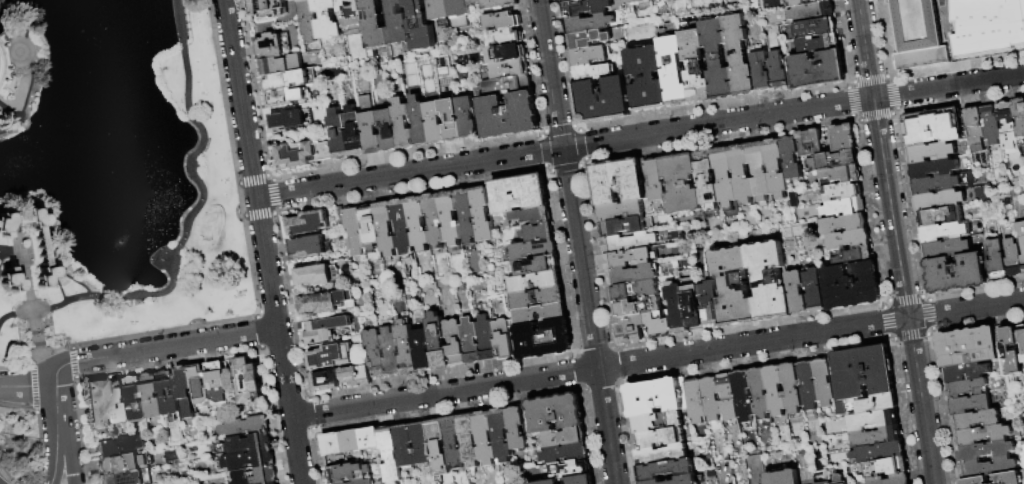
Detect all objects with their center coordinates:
building: (568, 1)
building: (637, 1)
building: (819, 1)
building: (473, 2)
building: (797, 2)
building: (500, 3)
building: (584, 7)
building: (268, 8)
building: (439, 11)
building: (811, 12)
building: (351, 13)
building: (458, 13)
building: (0, 19)
building: (328, 19)
building: (308, 20)
building: (500, 21)
building: (398, 23)
building: (588, 24)
building: (375, 25)
building: (420, 27)
building: (815, 27)
building: (2, 31)
building: (919, 33)
building: (504, 37)
building: (1011, 38)
building: (588, 40)
building: (817, 43)
building: (0, 46)
building: (274, 46)
road: (865, 49)
road: (17, 52)
building: (505, 53)
building: (588, 56)
building: (739, 56)
building: (716, 59)
building: (283, 64)
building: (695, 66)
building: (817, 68)
road: (33, 69)
building: (505, 70)
building: (672, 71)
building: (776, 71)
building: (760, 72)
building: (591, 73)
building: (646, 79)
building: (5, 80)
building: (290, 80)
building: (507, 85)
building: (285, 97)
building: (9, 99)
building: (602, 101)
road: (9, 111)
building: (509, 115)
building: (467, 117)
building: (291, 118)
building: (451, 120)
building: (419, 121)
building: (434, 122)
building: (1019, 122)
building: (402, 124)
building: (369, 126)
building: (1006, 126)
building: (932, 127)
building: (990, 127)
building: (974, 129)
building: (387, 130)
building: (354, 132)
building: (338, 134)
road: (640, 136)
building: (841, 137)
building: (809, 142)
building: (323, 150)
building: (930, 152)
building: (296, 154)
building: (790, 158)
building: (832, 160)
building: (933, 168)
building: (775, 169)
building: (758, 171)
building: (841, 173)
park: (113, 174)
building: (741, 174)
building: (724, 177)
building: (706, 179)
building: (656, 180)
building: (617, 181)
building: (681, 184)
building: (935, 184)
building: (842, 190)
building: (518, 194)
building: (939, 200)
building: (842, 206)
building: (620, 210)
building: (482, 214)
road: (46, 215)
building: (466, 215)
building: (938, 216)
building: (450, 218)
building: (529, 218)
building: (434, 220)
building: (308, 223)
building: (417, 223)
building: (842, 223)
road: (187, 226)
building: (402, 226)
building: (621, 227)
road: (19, 228)
building: (351, 228)
building: (386, 228)
building: (371, 232)
building: (943, 232)
building: (537, 233)
building: (1021, 237)
building: (847, 239)
road: (264, 241)
road: (577, 241)
building: (631, 242)
fountain: (118, 246)
building: (309, 246)
building: (946, 248)
building: (531, 250)
road: (1, 254)
building: (41, 254)
building: (851, 255)
building: (630, 258)
building: (1013, 258)
building: (997, 259)
building: (536, 266)
road: (55, 268)
building: (955, 273)
building: (633, 274)
building: (316, 276)
road: (27, 279)
building: (10, 281)
road: (74, 281)
building: (768, 281)
building: (534, 282)
building: (850, 285)
building: (733, 287)
building: (634, 290)
building: (812, 290)
road: (904, 291)
building: (795, 293)
building: (537, 298)
building: (327, 303)
building: (709, 304)
building: (692, 306)
building: (636, 307)
building: (676, 308)
building: (539, 314)
building: (628, 329)
building: (324, 330)
building: (486, 338)
building: (503, 339)
building: (543, 340)
building: (1021, 340)
building: (437, 341)
building: (470, 341)
building: (454, 343)
building: (967, 347)
road: (159, 348)
building: (406, 348)
building: (422, 350)
building: (374, 353)
building: (390, 353)
building: (1011, 353)
building: (330, 356)
road: (658, 358)
road: (45, 359)
building: (862, 371)
building: (967, 371)
building: (1023, 371)
building: (355, 376)
building: (326, 381)
building: (807, 383)
building: (217, 384)
building: (823, 384)
building: (249, 386)
road: (27, 387)
building: (190, 387)
building: (966, 387)
building: (791, 388)
building: (775, 390)
building: (760, 393)
building: (167, 395)
building: (743, 395)
building: (151, 396)
building: (653, 397)
building: (727, 397)
building: (711, 398)
building: (134, 400)
building: (695, 401)
building: (117, 402)
building: (876, 403)
building: (970, 404)
road: (55, 405)
building: (96, 405)
building: (555, 412)
building: (975, 419)
building: (872, 420)
building: (656, 422)
building: (244, 427)
building: (516, 428)
building: (982, 435)
building: (563, 437)
building: (659, 437)
building: (875, 437)
building: (369, 438)
building: (485, 438)
building: (501, 438)
building: (351, 441)
building: (453, 442)
building: (246, 444)
building: (333, 444)
building: (422, 444)
building: (469, 444)
building: (119, 447)
building: (405, 447)
building: (1022, 448)
building: (438, 449)
park: (19, 450)
building: (985, 450)
building: (564, 452)
building: (876, 453)
road: (67, 454)
building: (661, 454)
road: (55, 455)
building: (390, 455)
building: (245, 461)
building: (123, 464)
building: (886, 466)
building: (987, 467)
building: (568, 468)
building: (665, 469)
building: (347, 472)
building: (255, 476)
building: (782, 477)
building: (1010, 477)
building: (123, 478)
building: (579, 479)
building: (822, 479)
building: (839, 479)
building: (890, 479)
building: (676, 480)
building: (975, 480)
building: (361, 481)
building: (338, 482)
building: (545, 482)
building: (273, 483)

